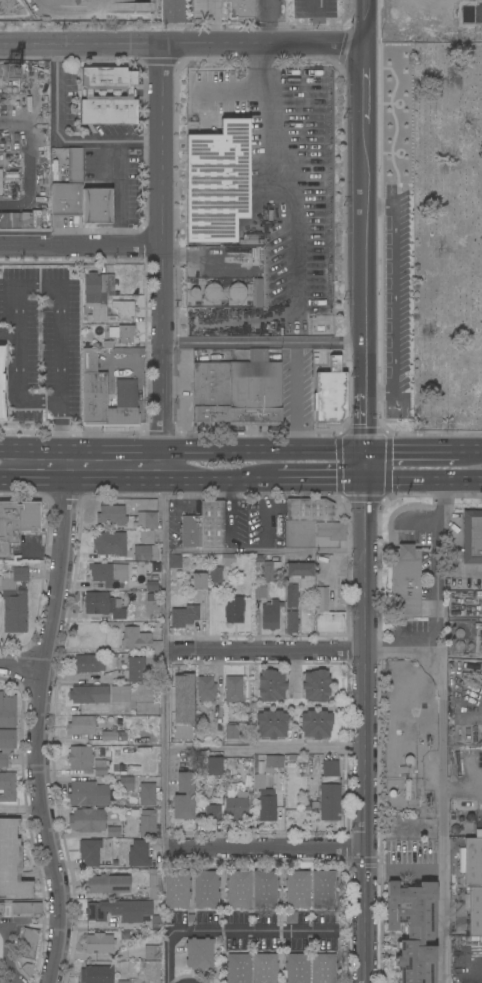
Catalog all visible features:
building: (241, 9)
building: (173, 10)
parking lot: (414, 15)
road: (182, 43)
building: (108, 97)
road: (265, 99)
road: (58, 119)
road: (117, 170)
building: (0, 183)
building: (217, 183)
building: (69, 188)
building: (97, 207)
building: (21, 219)
park: (443, 229)
park: (447, 234)
parking lot: (395, 235)
road: (396, 236)
flagpole: (431, 238)
building: (249, 239)
road: (365, 241)
road: (81, 244)
road: (163, 248)
road: (42, 286)
building: (212, 292)
storage tank: (212, 292)
building: (236, 292)
storage tank: (236, 292)
building: (98, 293)
building: (258, 293)
building: (199, 294)
building: (124, 308)
building: (87, 319)
building: (112, 320)
building: (113, 333)
road: (7, 335)
building: (122, 336)
road: (264, 341)
building: (127, 351)
building: (2, 383)
parking lot: (299, 385)
building: (330, 386)
building: (237, 393)
building: (106, 396)
road: (297, 398)
road: (32, 452)
road: (92, 453)
road: (243, 455)
road: (472, 455)
traffic signals: (366, 456)
road: (414, 456)
road: (55, 481)
road: (137, 482)
road: (216, 483)
road: (319, 483)
traffic signals: (367, 483)
road: (424, 483)
building: (310, 510)
building: (111, 515)
building: (147, 521)
building: (16, 523)
building: (212, 524)
building: (332, 531)
building: (191, 532)
building: (147, 537)
building: (473, 538)
building: (110, 544)
road: (264, 551)
building: (146, 553)
building: (228, 560)
building: (175, 561)
building: (270, 570)
building: (299, 570)
building: (109, 574)
building: (215, 575)
building: (199, 581)
building: (405, 582)
building: (152, 586)
road: (435, 590)
building: (260, 591)
building: (292, 596)
building: (14, 601)
building: (104, 605)
building: (234, 609)
building: (270, 615)
building: (327, 615)
building: (184, 616)
building: (291, 622)
building: (140, 641)
petroleum well: (481, 641)
road: (264, 652)
building: (89, 663)
road: (22, 664)
road: (164, 666)
building: (135, 669)
building: (271, 686)
building: (316, 686)
building: (178, 688)
building: (206, 689)
building: (233, 689)
building: (120, 694)
building: (89, 695)
building: (7, 711)
road: (40, 718)
building: (272, 725)
building: (316, 725)
building: (81, 726)
building: (232, 732)
road: (365, 732)
building: (112, 734)
building: (182, 736)
petroleum well: (428, 742)
building: (6, 745)
road: (265, 751)
building: (80, 758)
building: (274, 762)
building: (213, 766)
building: (101, 767)
road: (443, 779)
building: (259, 781)
building: (126, 783)
building: (7, 786)
building: (407, 789)
building: (329, 792)
building: (148, 793)
building: (88, 794)
building: (184, 796)
petroleum well: (429, 803)
building: (267, 805)
building: (236, 807)
road: (21, 808)
building: (213, 813)
building: (87, 821)
building: (148, 823)
building: (113, 832)
road: (265, 849)
building: (89, 852)
building: (138, 853)
building: (11, 861)
building: (473, 880)
building: (106, 884)
building: (154, 884)
building: (265, 889)
building: (323, 889)
building: (176, 890)
building: (205, 890)
building: (238, 890)
building: (297, 890)
building: (1, 909)
building: (26, 909)
building: (123, 911)
building: (291, 917)
building: (413, 928)
road: (225, 930)
building: (99, 943)
building: (28, 944)
road: (7, 952)
building: (152, 953)
building: (200, 954)
building: (237, 968)
building: (264, 968)
building: (297, 968)
building: (323, 968)
building: (27, 970)
building: (96, 975)
road: (11, 982)
road: (15, 982)

